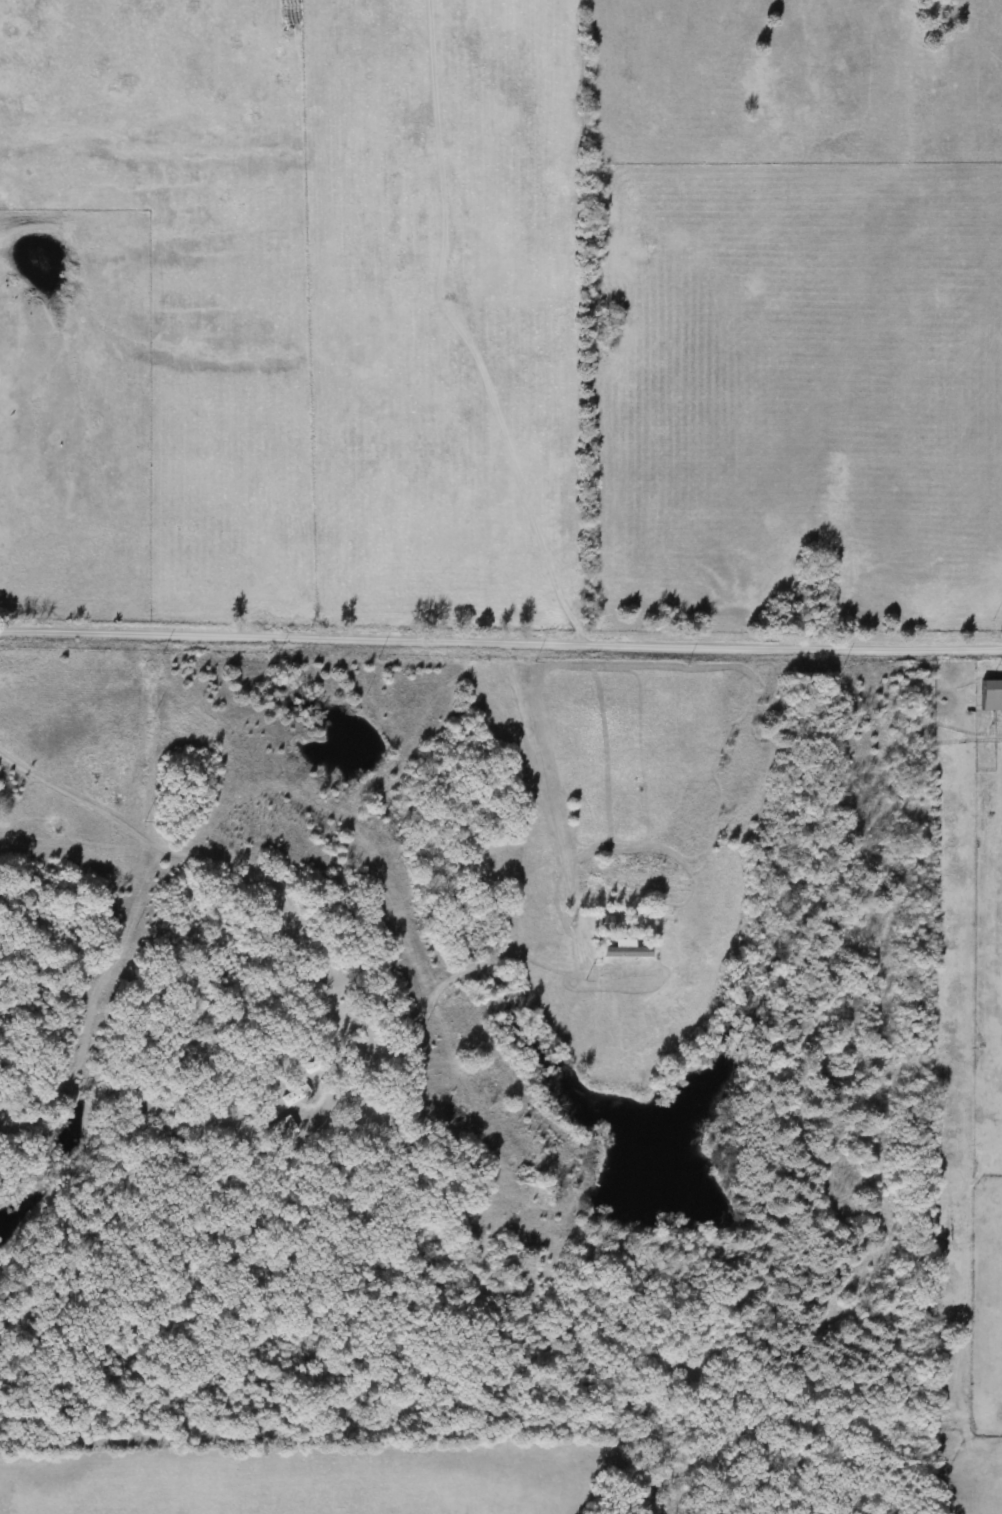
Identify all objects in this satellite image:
road: (500, 645)
building: (990, 696)
road: (541, 789)
road: (323, 806)
road: (213, 810)
building: (607, 923)
road: (306, 941)
building: (625, 950)
road: (43, 988)
road: (90, 1003)

